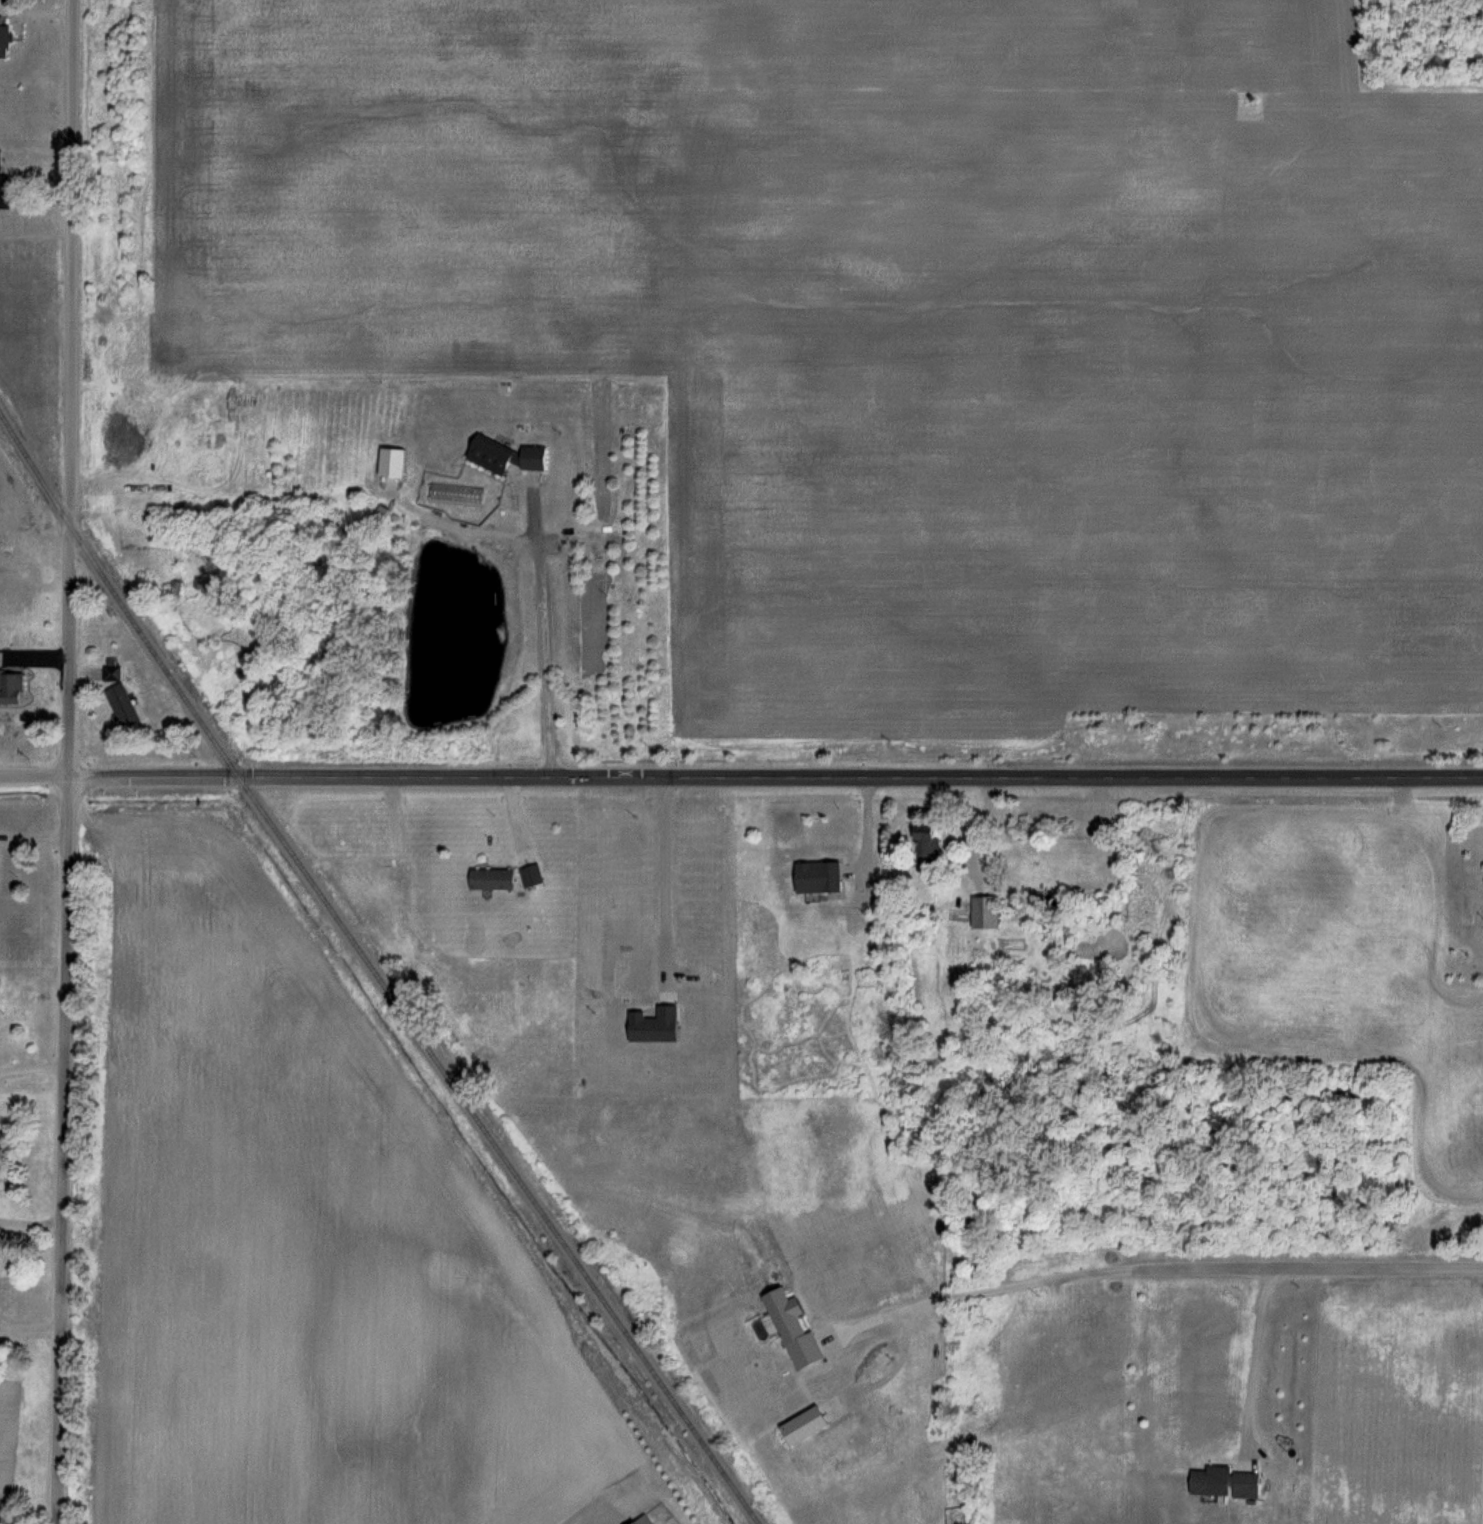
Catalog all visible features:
building: (6, 38)
building: (6, 179)
building: (498, 454)
building: (540, 459)
railway: (49, 481)
building: (12, 539)
road: (541, 628)
building: (0, 658)
building: (114, 671)
building: (11, 688)
building: (126, 705)
road: (71, 762)
road: (741, 777)
building: (922, 840)
building: (812, 877)
building: (497, 880)
road: (662, 883)
building: (983, 911)
railway: (425, 1045)
road: (33, 1068)
road: (1309, 1267)
road: (985, 1289)
road: (32, 1328)
road: (1256, 1359)
building: (1221, 1482)
road: (595, 1519)

